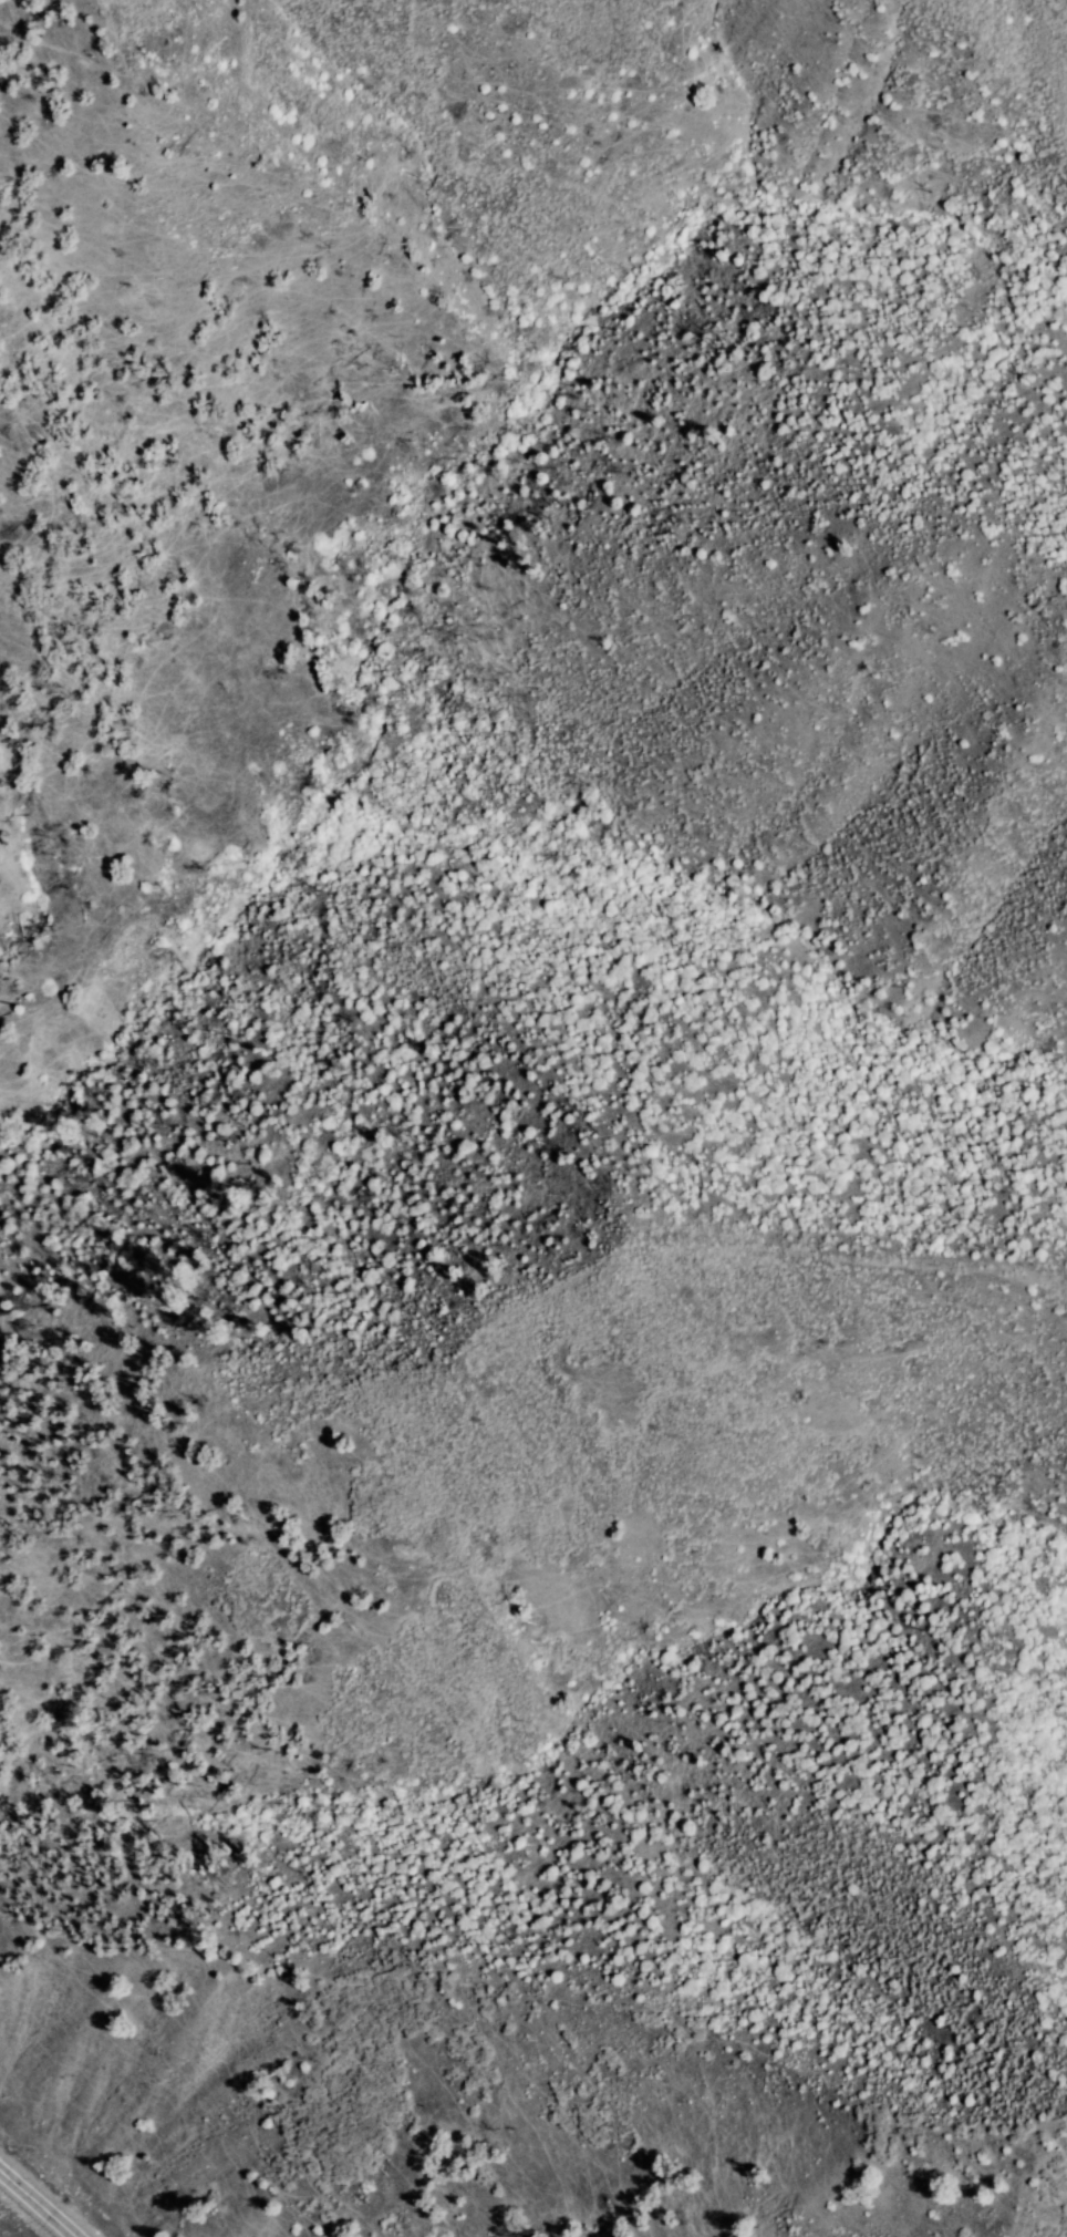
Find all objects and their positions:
road: (33, 2207)

